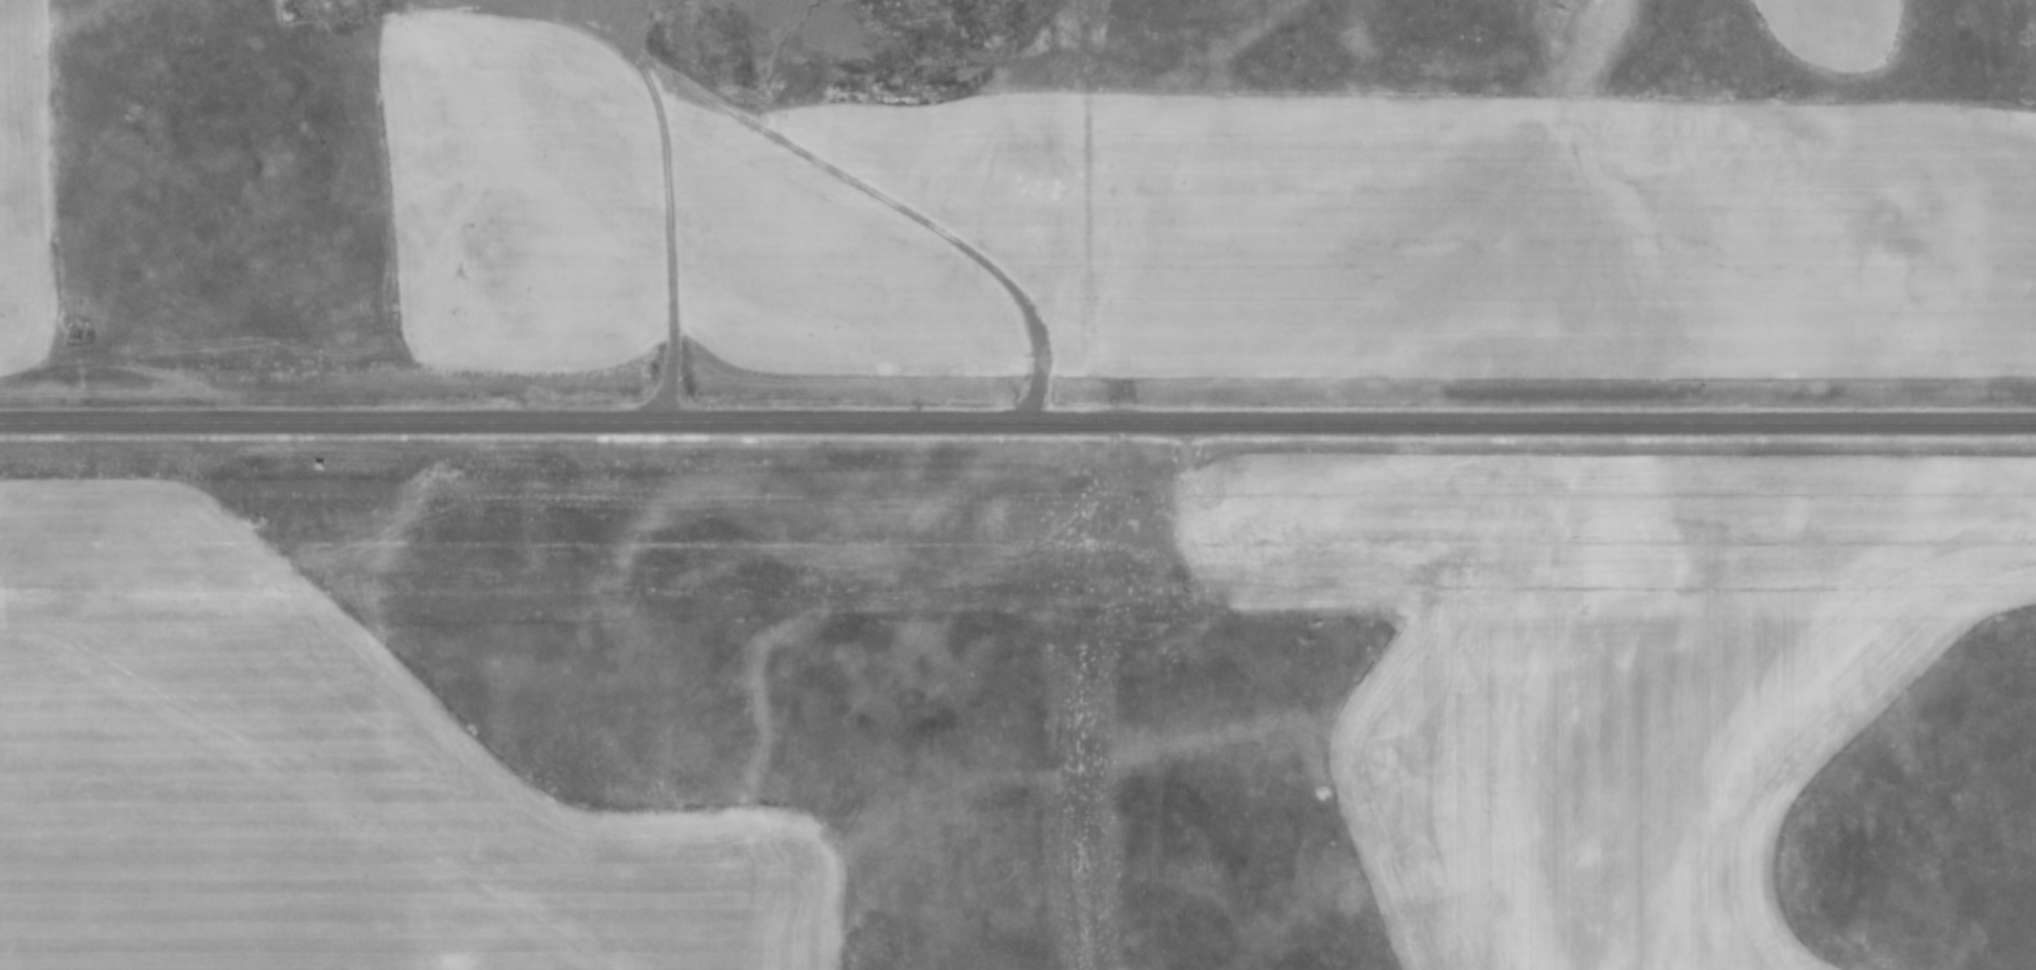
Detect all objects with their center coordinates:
road: (1017, 422)

